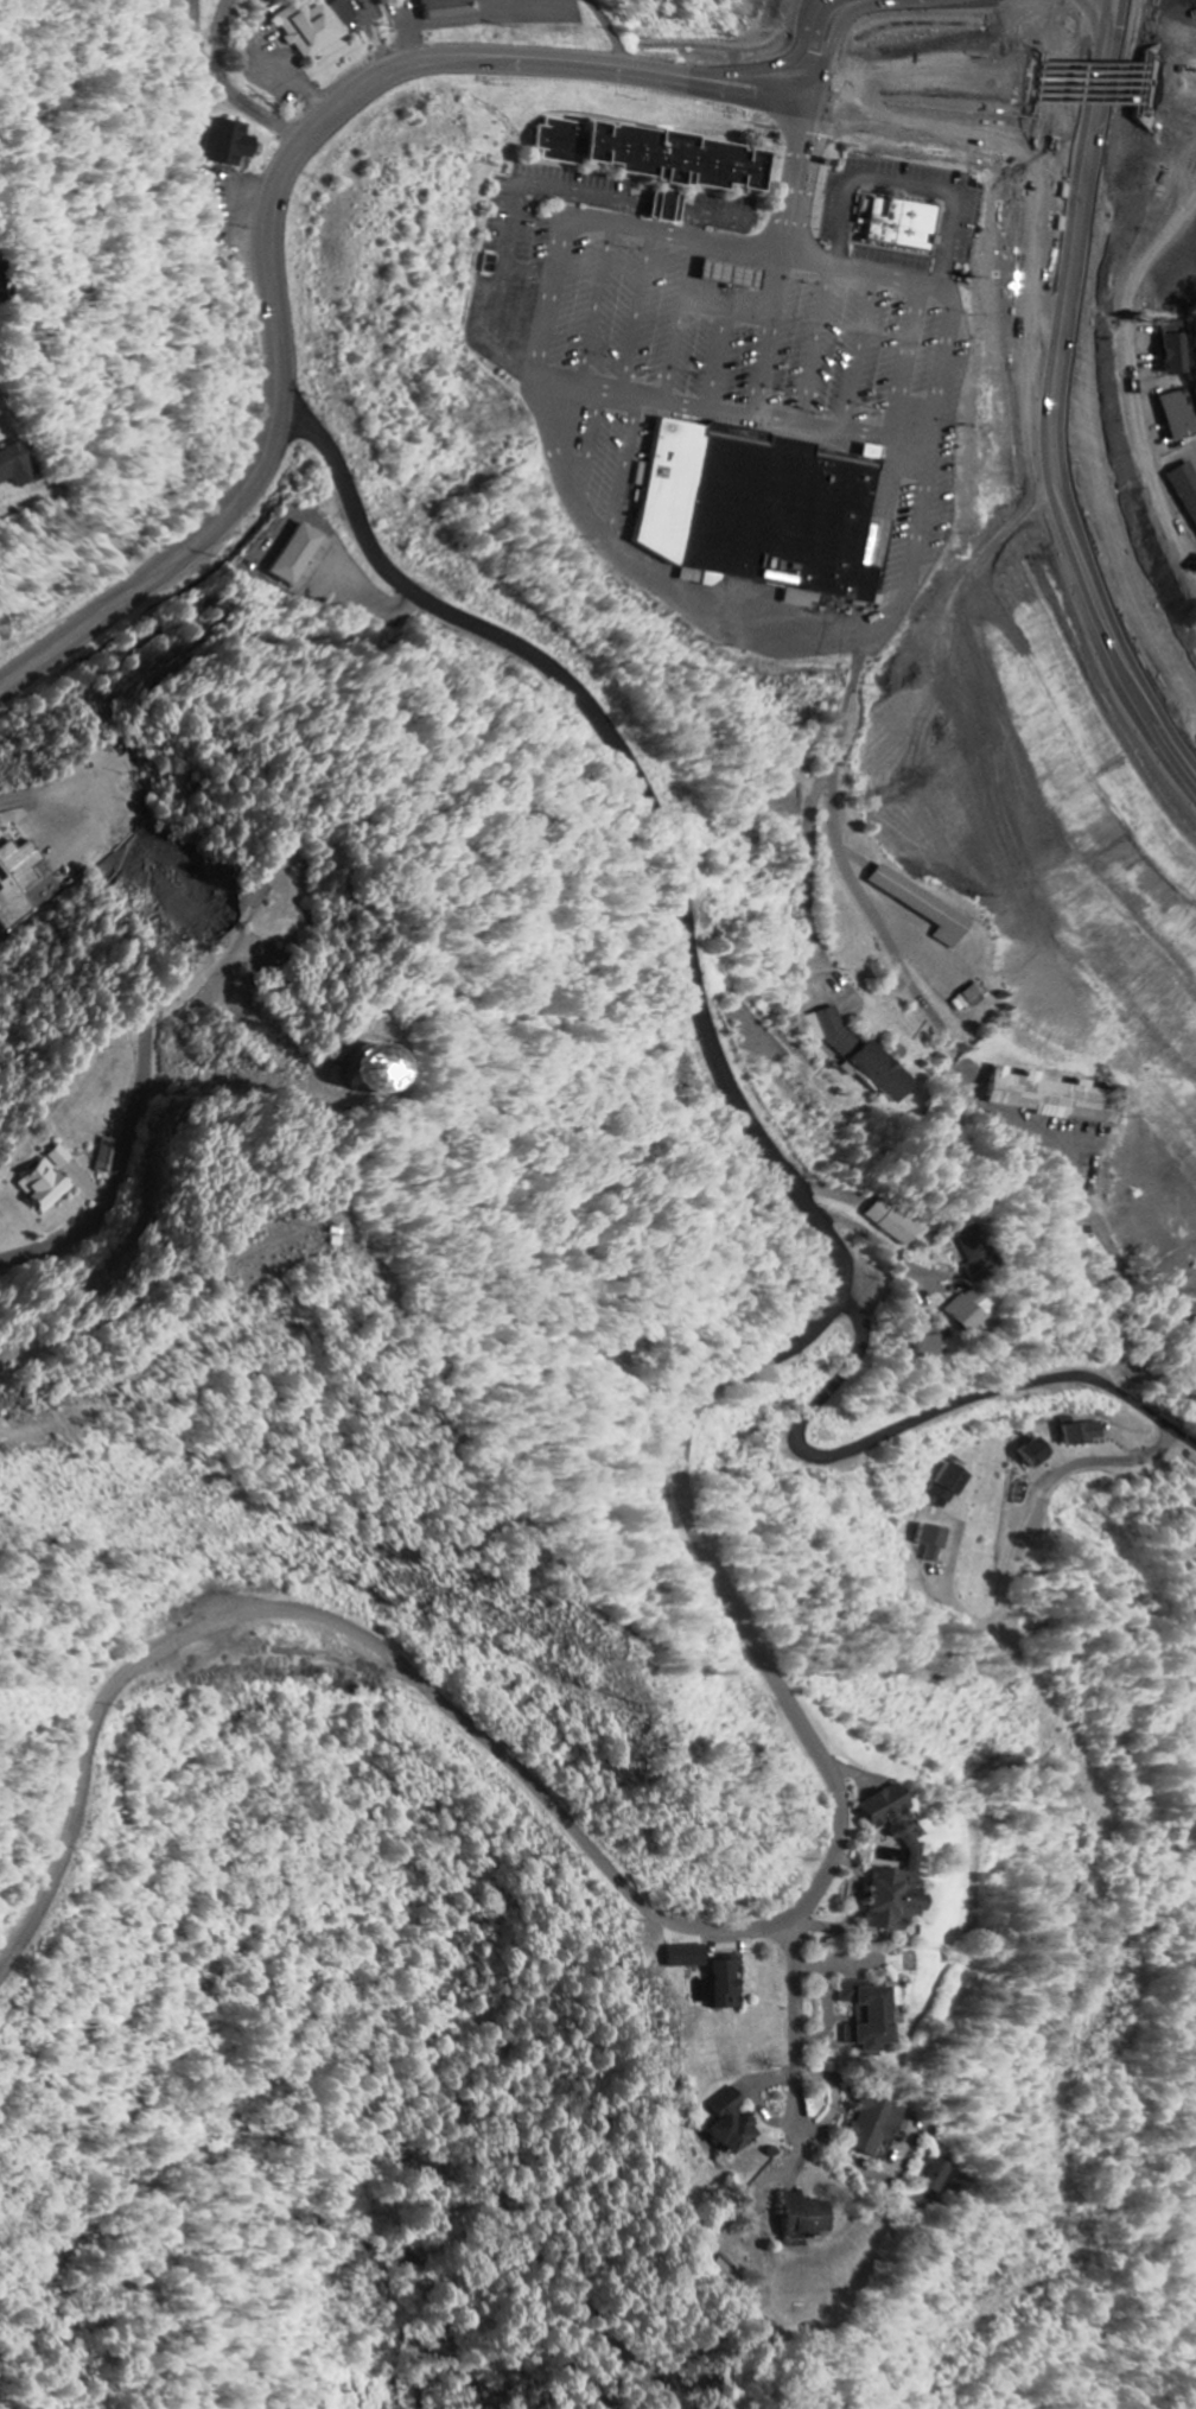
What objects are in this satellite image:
building: (452, 11)
building: (317, 27)
road: (1106, 50)
road: (425, 57)
road: (1159, 66)
road: (248, 77)
building: (231, 145)
building: (654, 148)
building: (668, 201)
building: (899, 218)
building: (733, 272)
gas station: (733, 272)
building: (1177, 348)
road: (1087, 358)
road: (1061, 379)
building: (1181, 414)
building: (17, 466)
building: (1187, 484)
building: (762, 506)
building: (299, 554)
road: (61, 644)
building: (17, 879)
road: (675, 891)
building: (927, 907)
building: (974, 997)
building: (861, 1055)
building: (392, 1069)
building: (1054, 1098)
road: (872, 1172)
building: (50, 1181)
road: (1084, 1197)
building: (892, 1223)
road: (1077, 1234)
building: (974, 1253)
road: (1125, 1272)
road: (1114, 1330)
building: (1194, 1335)
building: (928, 1347)
road: (1133, 1400)
road: (944, 1405)
building: (1084, 1435)
building: (1039, 1454)
building: (950, 1486)
building: (935, 1543)
power tower: (640, 1712)
building: (915, 1860)
road: (628, 1889)
building: (730, 1983)
building: (870, 2014)
road: (796, 2022)
building: (736, 2123)
building: (874, 2127)
building: (935, 2176)
building: (807, 2216)
building: (723, 2271)

